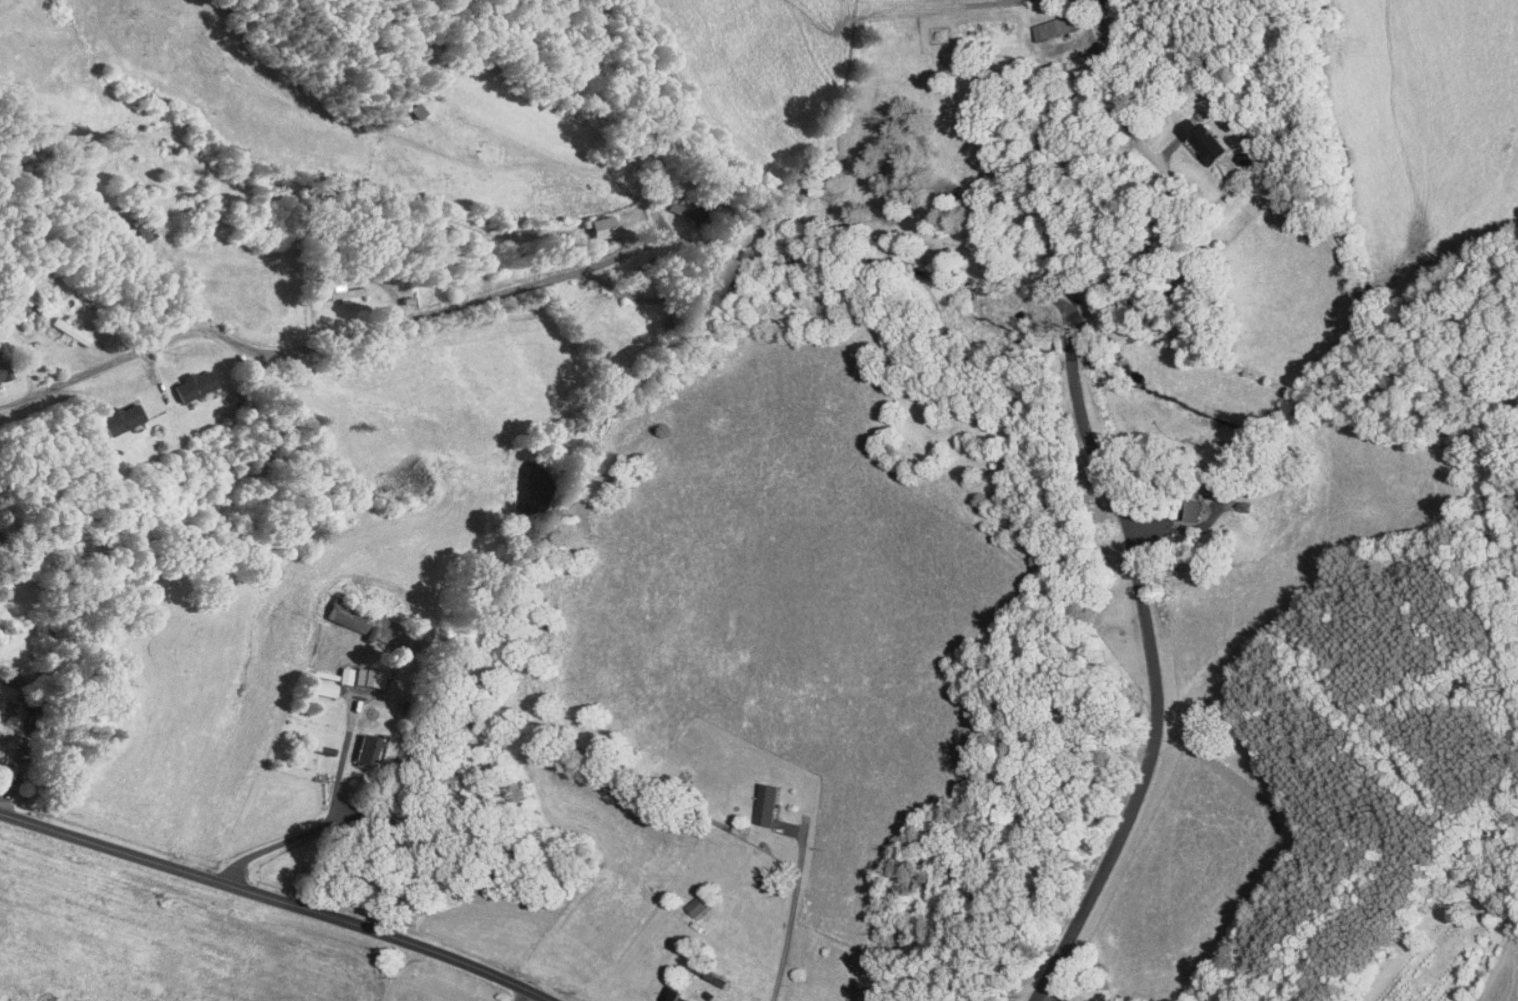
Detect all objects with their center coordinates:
building: (1040, 21)
building: (402, 105)
building: (1186, 133)
road: (1164, 170)
road: (1209, 209)
building: (588, 220)
building: (131, 224)
building: (723, 261)
building: (332, 287)
road: (658, 292)
building: (4, 307)
building: (58, 324)
road: (329, 339)
building: (180, 379)
building: (107, 412)
building: (1178, 504)
building: (342, 614)
road: (1143, 653)
building: (332, 669)
building: (352, 745)
building: (750, 798)
road: (328, 821)
building: (683, 899)
road: (275, 900)
road: (790, 916)
building: (654, 989)
building: (676, 999)

